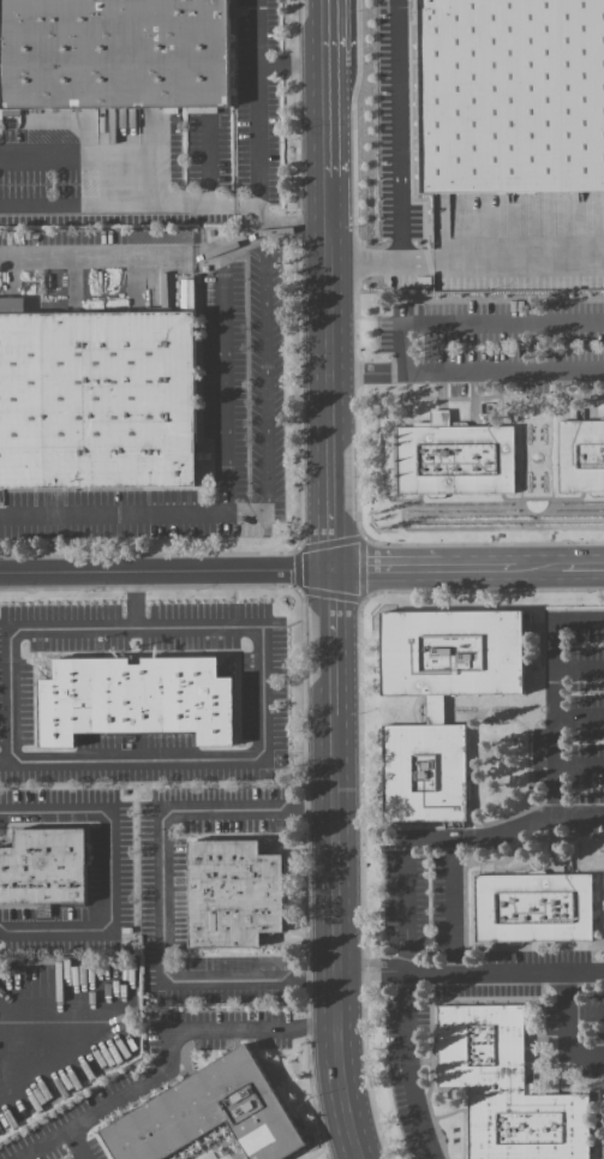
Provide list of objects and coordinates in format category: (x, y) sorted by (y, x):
building: (114, 56)
road: (259, 64)
road: (400, 130)
road: (255, 178)
road: (127, 204)
road: (136, 253)
road: (466, 259)
road: (508, 325)
building: (384, 363)
road: (426, 375)
building: (98, 400)
building: (581, 459)
building: (453, 460)
road: (110, 514)
road: (251, 514)
road: (301, 570)
road: (328, 580)
road: (134, 598)
road: (259, 627)
building: (442, 700)
building: (133, 703)
road: (4, 760)
road: (549, 808)
building: (43, 870)
road: (113, 870)
road: (403, 882)
road: (160, 894)
building: (233, 895)
building: (534, 909)
road: (467, 975)
road: (563, 1014)
road: (172, 1044)
road: (16, 1051)
road: (408, 1069)
building: (507, 1089)
building: (208, 1115)
road: (44, 1140)

